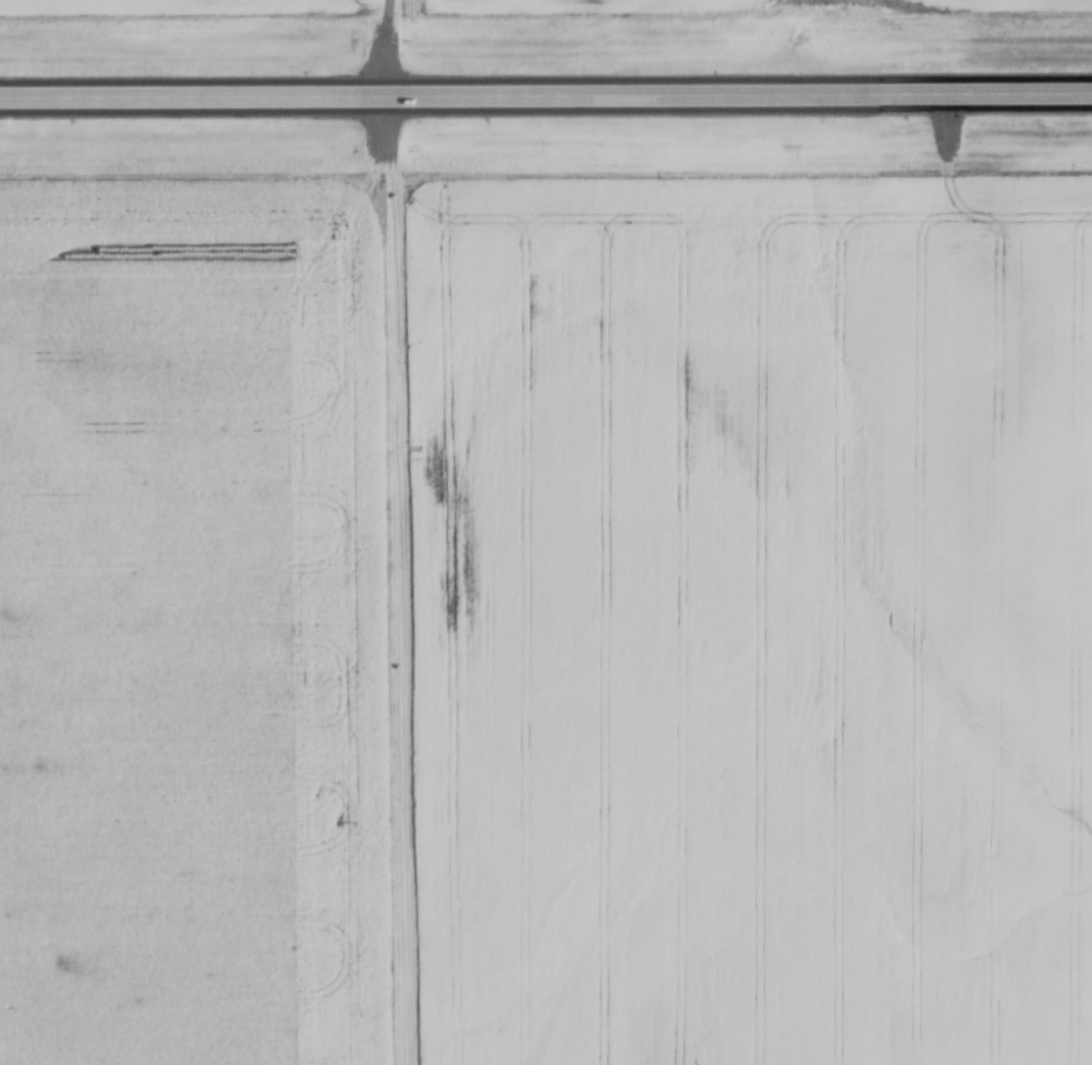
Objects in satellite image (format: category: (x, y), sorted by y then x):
road: (386, 47)
road: (546, 94)

